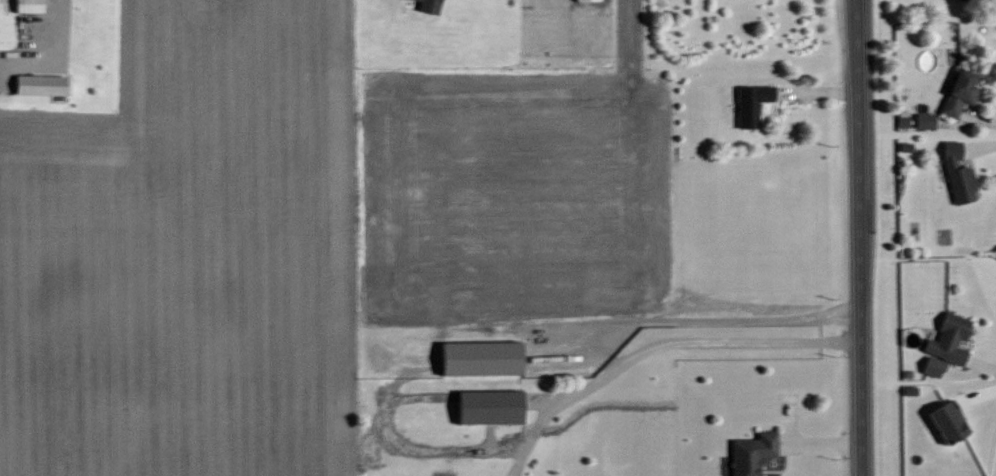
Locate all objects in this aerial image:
building: (586, 0)
building: (961, 0)
building: (27, 5)
building: (428, 6)
road: (46, 45)
building: (39, 85)
building: (959, 93)
building: (750, 105)
building: (924, 121)
building: (902, 122)
building: (905, 147)
building: (957, 175)
road: (859, 238)
building: (948, 339)
road: (697, 345)
building: (481, 357)
building: (932, 366)
building: (488, 405)
building: (947, 421)
building: (751, 453)

